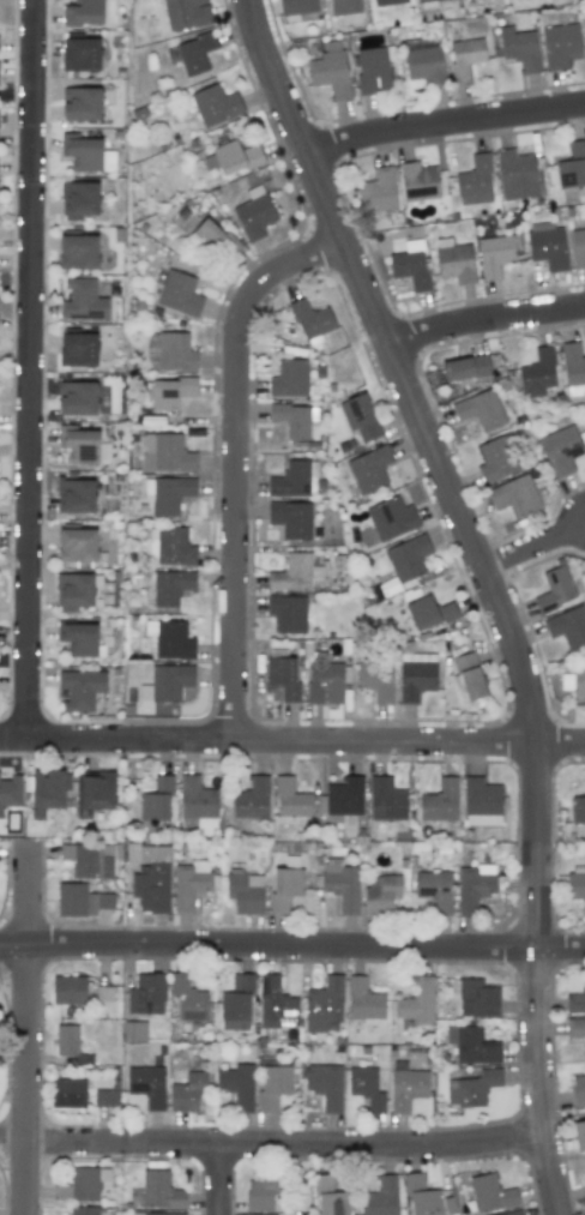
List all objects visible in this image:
building: (428, 0)
building: (386, 1)
building: (297, 6)
building: (345, 6)
building: (84, 12)
building: (186, 13)
building: (559, 44)
building: (519, 48)
building: (195, 53)
building: (82, 54)
building: (465, 56)
building: (426, 64)
building: (373, 68)
building: (330, 73)
building: (80, 104)
building: (216, 104)
road: (444, 121)
building: (84, 154)
building: (235, 156)
building: (108, 161)
building: (572, 166)
building: (515, 174)
building: (417, 181)
building: (475, 181)
building: (378, 191)
building: (79, 199)
building: (254, 216)
building: (213, 240)
building: (578, 247)
building: (548, 248)
building: (78, 252)
building: (495, 254)
building: (454, 260)
building: (410, 265)
building: (180, 294)
building: (83, 300)
road: (484, 317)
building: (312, 320)
building: (78, 349)
building: (175, 351)
road: (28, 368)
building: (465, 368)
building: (538, 373)
building: (289, 379)
building: (170, 391)
building: (77, 398)
building: (480, 409)
building: (360, 417)
building: (291, 420)
building: (82, 445)
building: (561, 450)
building: (165, 453)
building: (496, 458)
road: (235, 461)
road: (436, 464)
building: (369, 469)
building: (168, 494)
building: (76, 495)
building: (515, 495)
building: (290, 518)
building: (391, 518)
building: (77, 545)
road: (533, 545)
building: (174, 547)
building: (404, 561)
building: (296, 573)
building: (171, 587)
building: (555, 589)
building: (76, 591)
building: (288, 613)
building: (428, 613)
building: (568, 626)
building: (78, 637)
building: (170, 639)
building: (282, 673)
building: (416, 675)
building: (470, 675)
building: (376, 680)
building: (574, 681)
building: (170, 682)
building: (325, 682)
building: (82, 688)
road: (292, 738)
building: (48, 789)
building: (10, 792)
building: (94, 793)
building: (345, 796)
building: (252, 798)
building: (290, 799)
building: (386, 799)
building: (156, 800)
building: (440, 801)
building: (481, 802)
building: (198, 804)
building: (578, 810)
building: (90, 860)
building: (150, 876)
building: (191, 884)
building: (340, 884)
building: (575, 885)
building: (474, 886)
building: (285, 888)
building: (434, 889)
building: (245, 891)
building: (381, 894)
building: (80, 901)
road: (265, 948)
road: (557, 950)
building: (68, 990)
building: (146, 994)
building: (188, 998)
building: (477, 998)
building: (363, 999)
building: (575, 1000)
building: (416, 1002)
building: (237, 1003)
building: (275, 1004)
building: (324, 1004)
building: (575, 1028)
building: (133, 1030)
road: (26, 1033)
building: (66, 1040)
building: (471, 1045)
road: (538, 1083)
building: (325, 1084)
building: (146, 1085)
building: (237, 1085)
building: (273, 1085)
building: (406, 1087)
building: (367, 1088)
building: (472, 1089)
building: (579, 1089)
building: (187, 1091)
building: (68, 1093)
building: (105, 1097)
building: (579, 1135)
road: (14, 1138)
road: (287, 1143)
road: (223, 1179)
building: (84, 1184)
building: (584, 1184)
building: (159, 1190)
building: (264, 1191)
building: (490, 1193)
building: (330, 1197)
building: (380, 1197)
building: (427, 1198)
building: (89, 1210)
building: (158, 1213)
building: (515, 1214)

